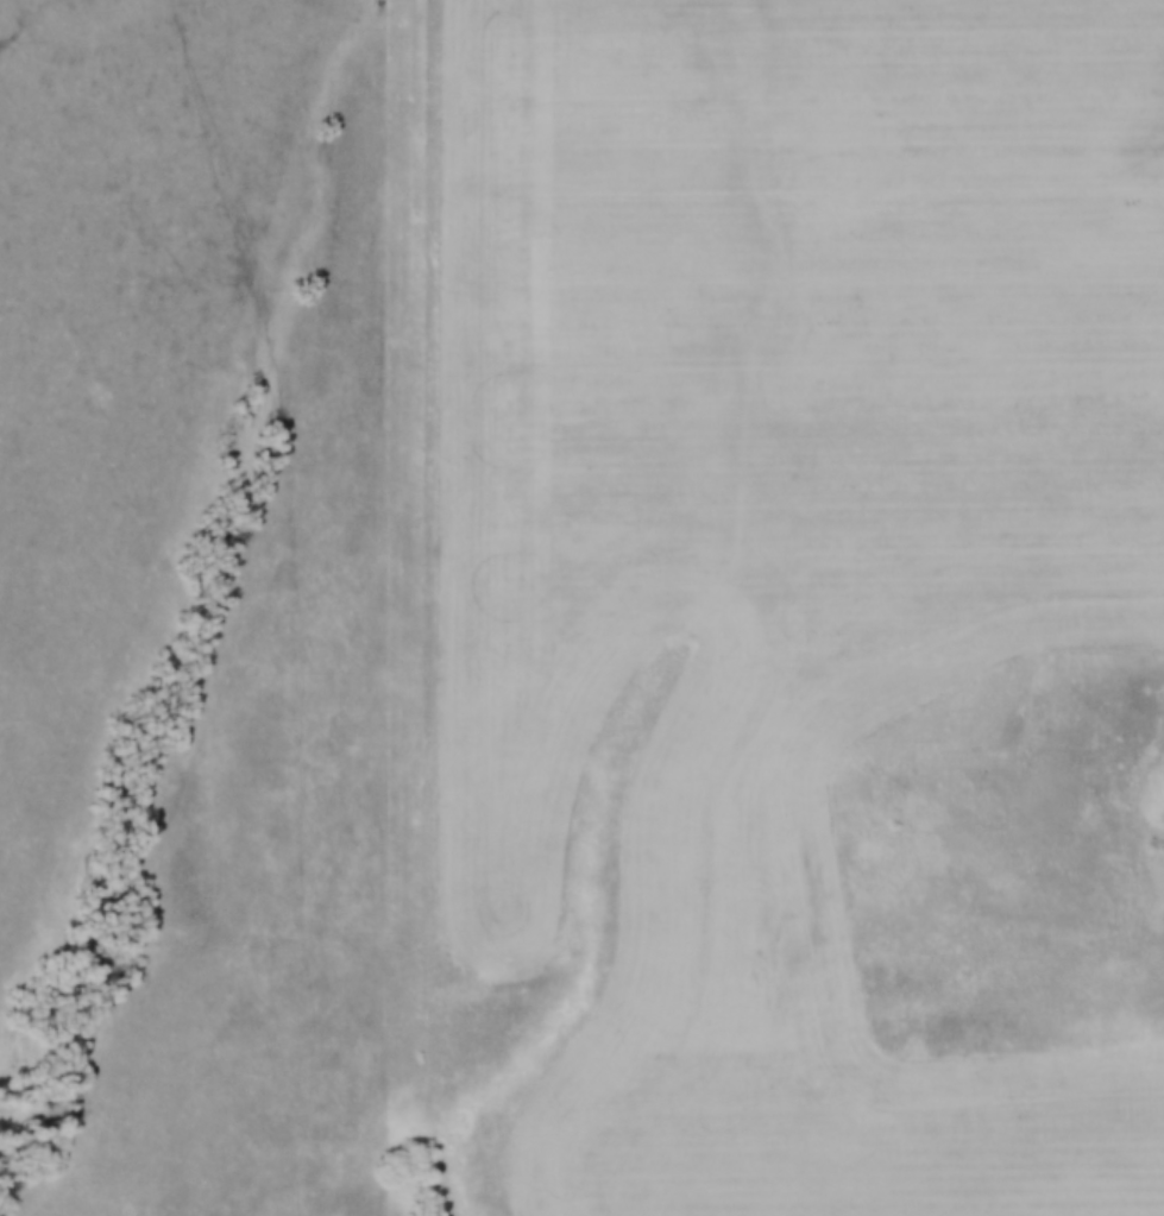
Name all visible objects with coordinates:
building: (927, 298)

